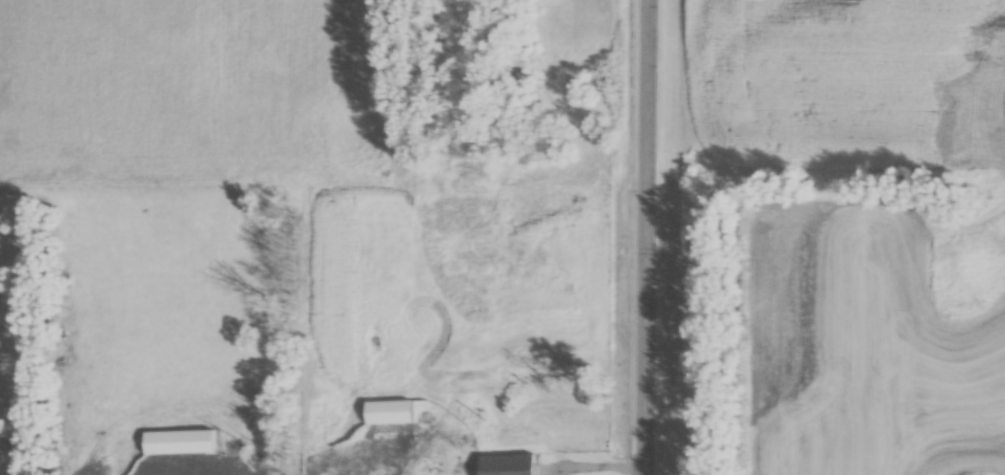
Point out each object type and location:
road: (654, 237)
building: (175, 443)
building: (504, 465)

